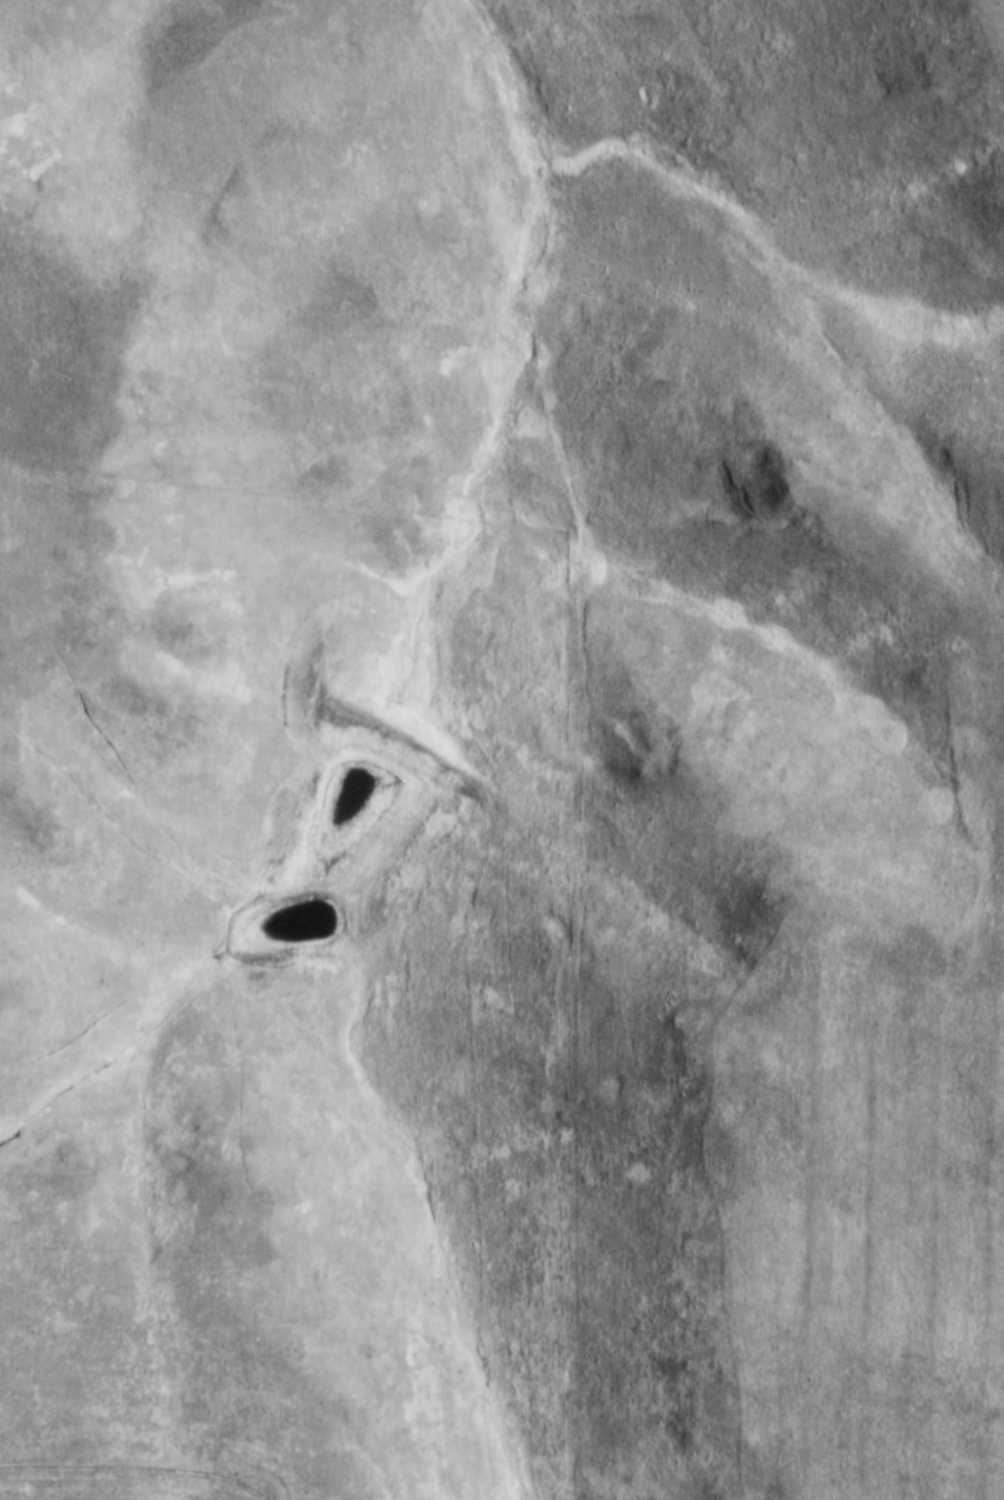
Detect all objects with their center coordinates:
road: (132, 1475)

